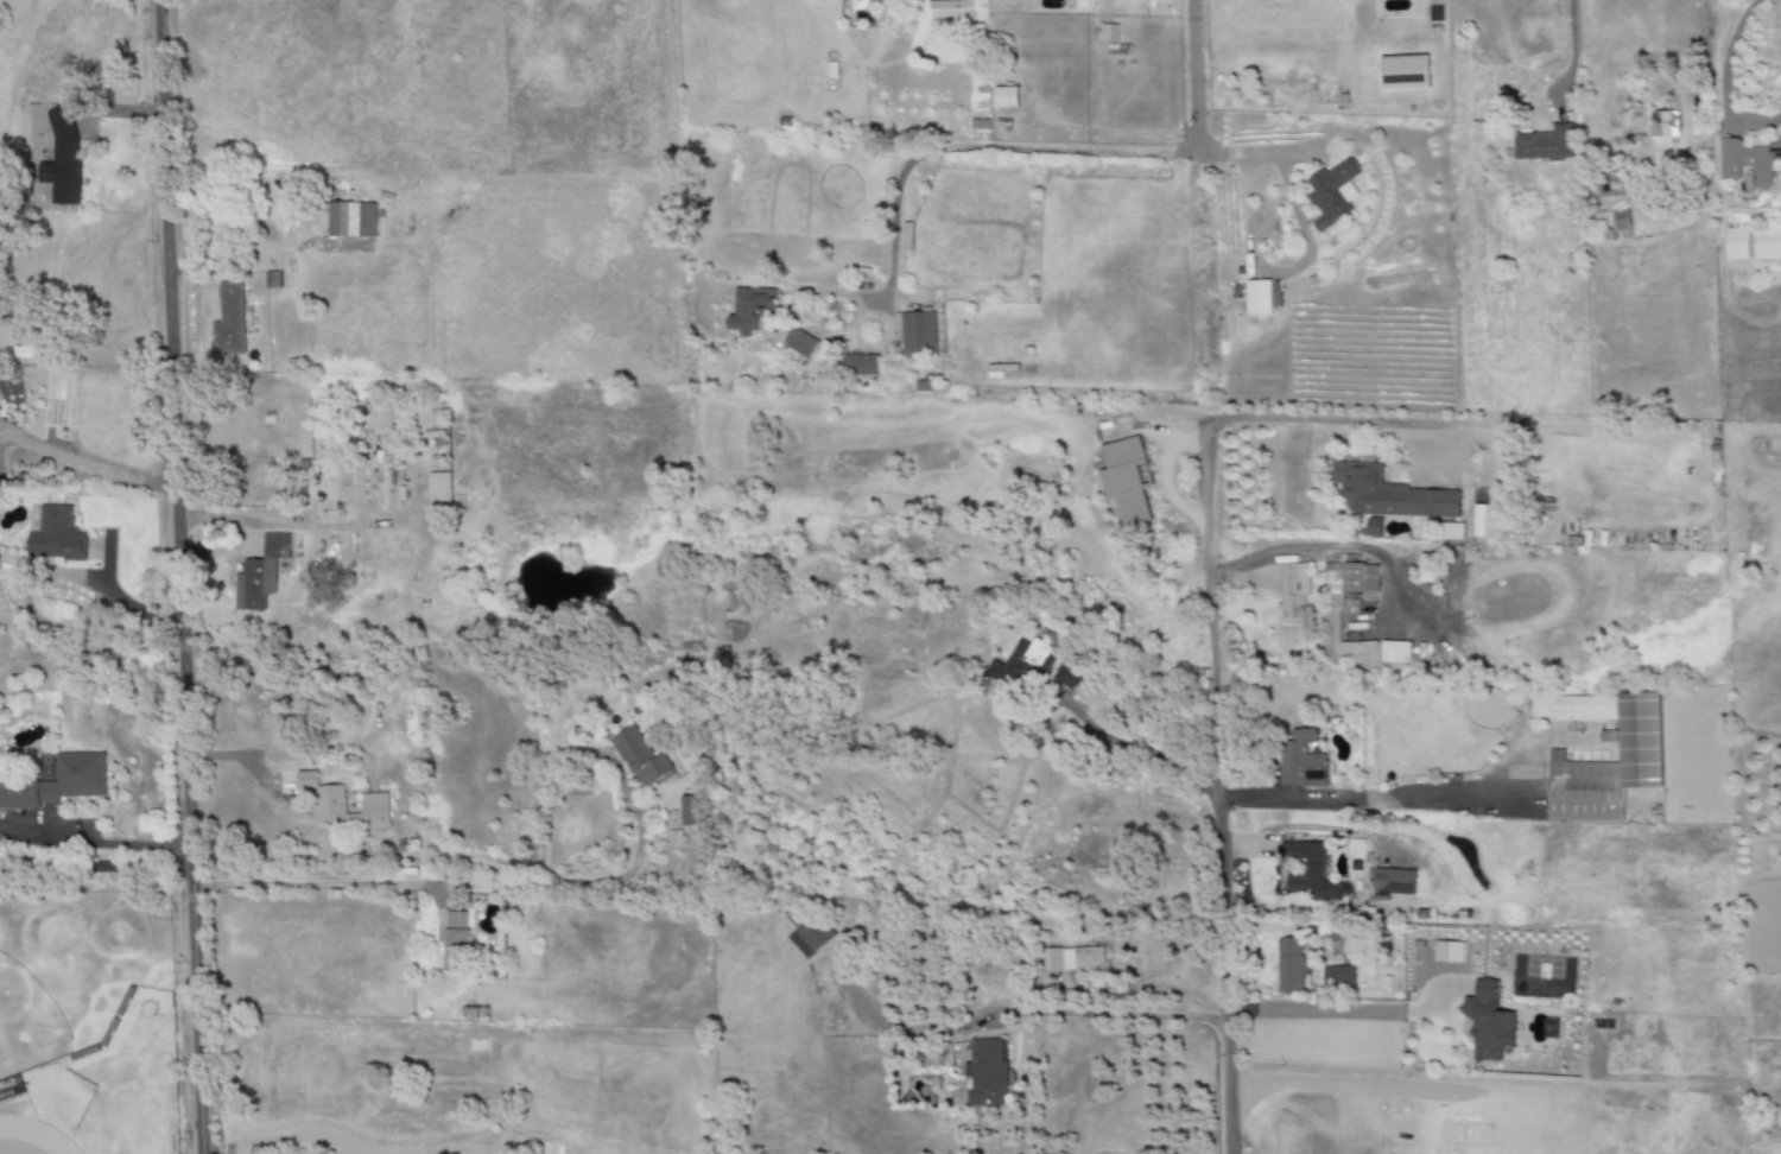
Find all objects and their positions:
building: (946, 7)
road: (1704, 23)
road: (1568, 30)
building: (1107, 33)
building: (1403, 72)
road: (1193, 76)
road: (1723, 83)
building: (1004, 97)
road: (1780, 110)
building: (83, 127)
building: (1661, 128)
building: (1546, 146)
road: (1075, 150)
building: (62, 159)
building: (1749, 161)
building: (1611, 184)
building: (1330, 191)
building: (350, 220)
building: (1768, 245)
building: (1738, 246)
road: (1307, 248)
building: (1259, 298)
road: (874, 300)
building: (750, 309)
building: (228, 322)
building: (918, 332)
building: (798, 342)
building: (858, 367)
road: (1308, 423)
road: (89, 465)
building: (1127, 480)
building: (1387, 493)
road: (291, 521)
building: (1373, 528)
building: (55, 534)
road: (1316, 541)
building: (259, 573)
road: (183, 576)
building: (1351, 578)
building: (1370, 582)
road: (95, 583)
building: (1292, 591)
building: (1394, 652)
building: (1070, 677)
building: (1573, 708)
building: (1639, 740)
road: (1137, 749)
road: (274, 750)
building: (641, 760)
building: (1303, 761)
building: (58, 782)
road: (1219, 787)
building: (1585, 791)
road: (1364, 800)
building: (689, 811)
road: (93, 845)
road: (93, 862)
building: (1308, 868)
road: (560, 879)
building: (1395, 882)
road: (311, 883)
building: (1421, 914)
building: (1072, 959)
building: (1292, 969)
building: (1337, 976)
road: (1247, 1009)
road: (1114, 1014)
building: (1488, 1021)
building: (988, 1073)
track: (33, 1135)

